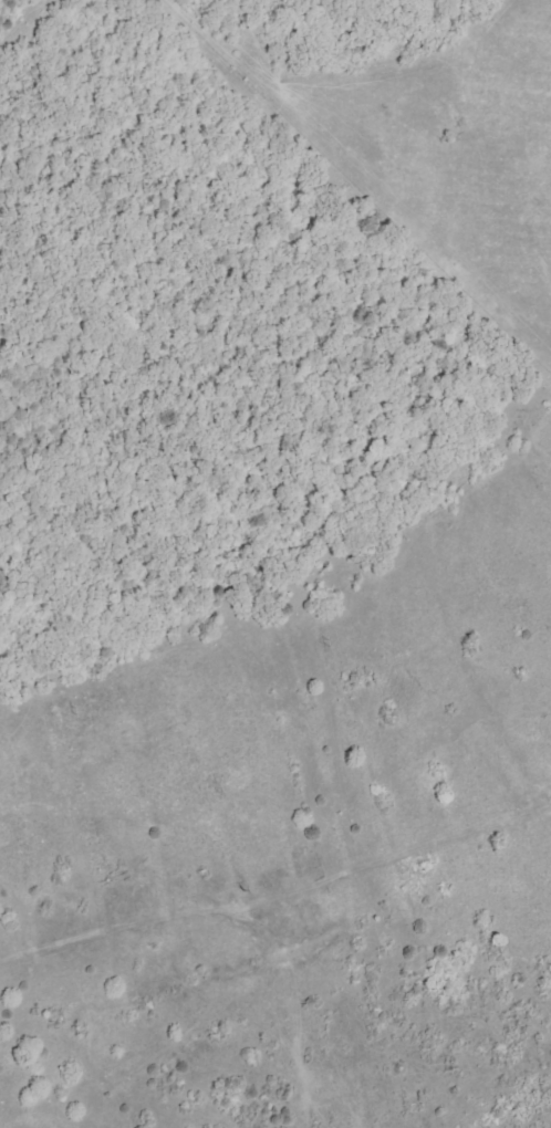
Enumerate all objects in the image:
power tower: (326, 641)
power tower: (74, 710)

